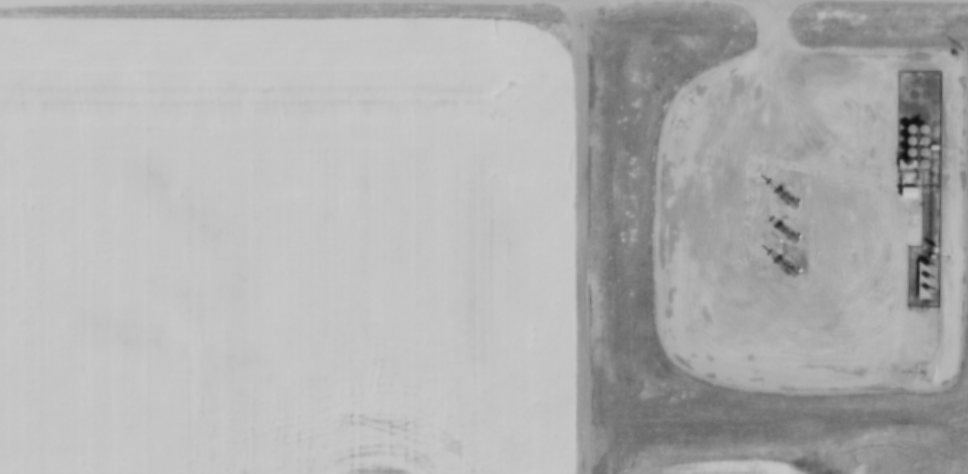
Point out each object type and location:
road: (582, 236)

